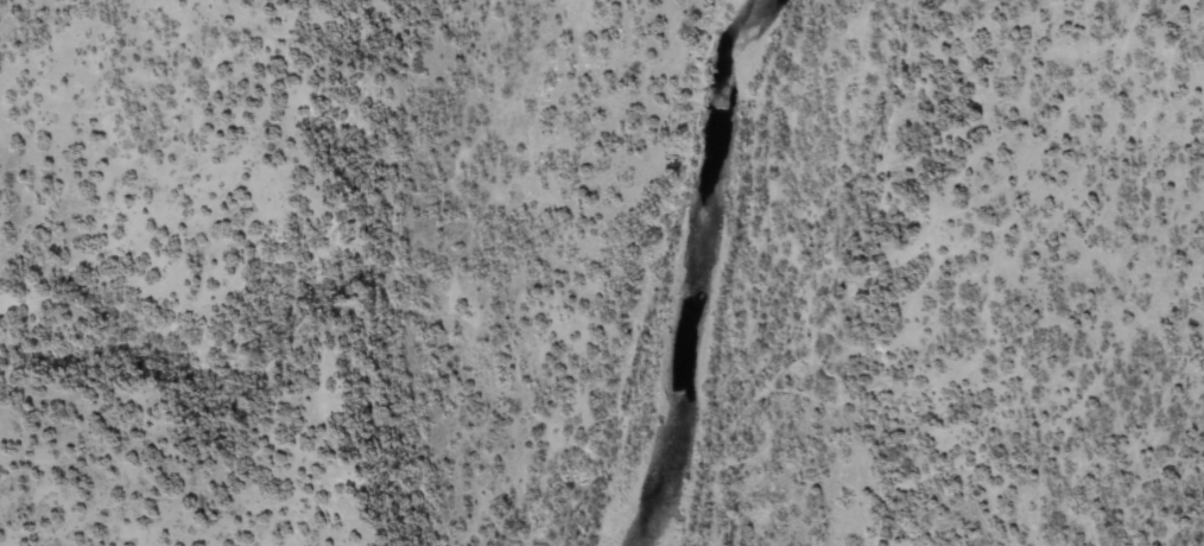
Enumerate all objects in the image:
river: (683, 273)

